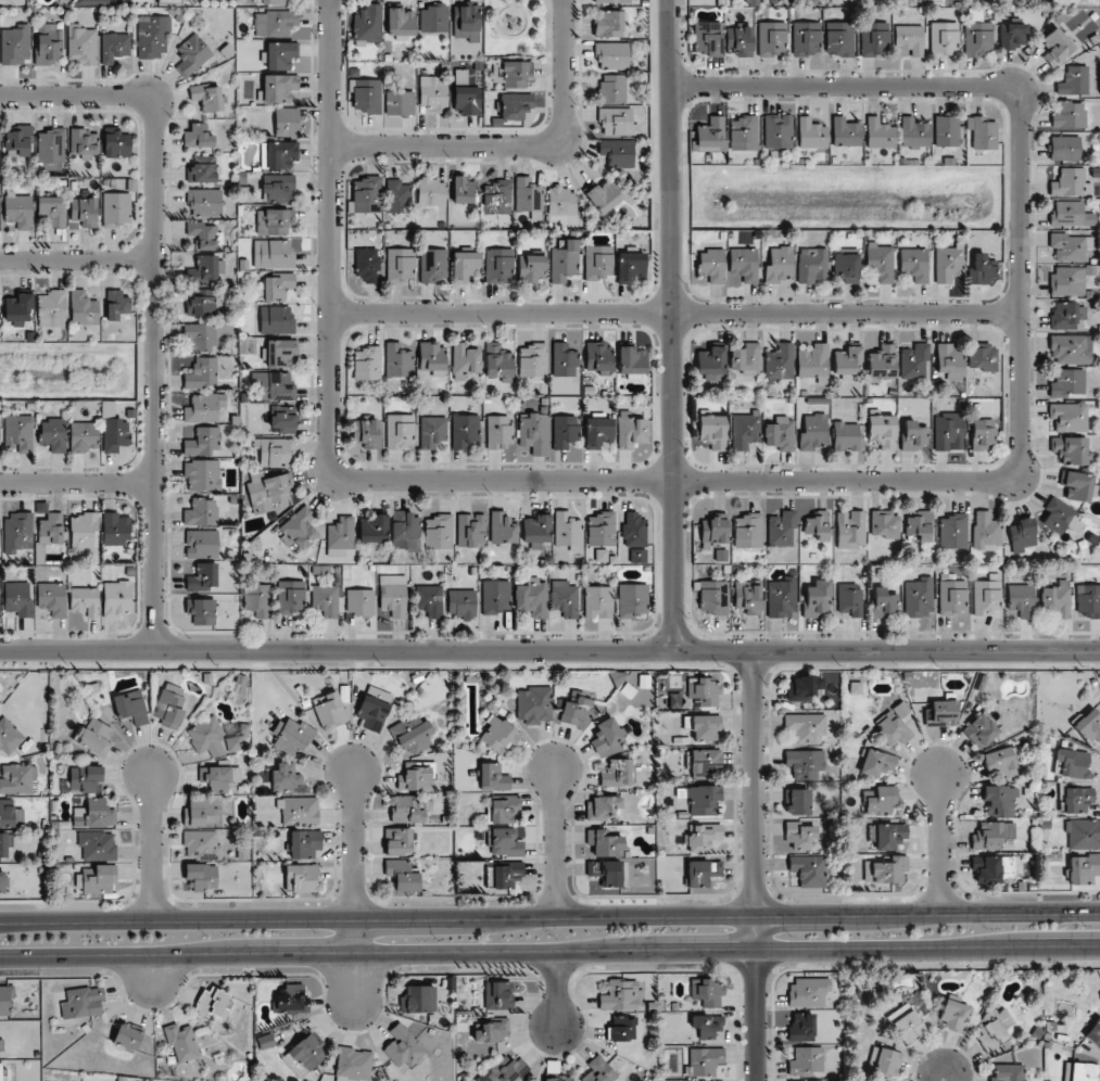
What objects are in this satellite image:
building: (168, 1)
building: (275, 1)
building: (610, 1)
road: (514, 2)
road: (501, 9)
building: (466, 17)
building: (433, 18)
building: (399, 21)
building: (275, 23)
building: (609, 23)
building: (368, 25)
park: (518, 27)
building: (1013, 35)
building: (153, 37)
building: (707, 38)
building: (806, 38)
building: (839, 38)
building: (874, 38)
building: (771, 39)
building: (909, 39)
building: (944, 39)
building: (978, 39)
building: (739, 40)
building: (49, 43)
building: (15, 44)
building: (81, 46)
building: (1057, 46)
building: (114, 47)
building: (192, 55)
building: (280, 55)
building: (611, 55)
building: (516, 74)
building: (1074, 80)
building: (278, 88)
building: (612, 88)
building: (432, 93)
road: (77, 94)
building: (367, 96)
building: (207, 97)
building: (466, 101)
building: (399, 102)
building: (514, 105)
building: (1069, 115)
building: (287, 122)
building: (617, 122)
building: (777, 130)
building: (946, 131)
building: (710, 132)
building: (743, 132)
building: (845, 132)
building: (913, 132)
building: (982, 132)
building: (811, 133)
building: (880, 133)
building: (198, 137)
building: (20, 140)
building: (84, 143)
building: (116, 143)
road: (520, 145)
building: (1064, 148)
building: (51, 149)
building: (618, 152)
building: (278, 154)
building: (202, 169)
building: (1070, 182)
building: (278, 189)
building: (460, 190)
building: (430, 191)
building: (366, 194)
building: (528, 194)
building: (603, 195)
building: (399, 196)
building: (496, 198)
building: (561, 201)
building: (205, 202)
building: (52, 209)
building: (116, 209)
building: (18, 211)
building: (85, 212)
building: (1070, 214)
building: (274, 221)
building: (204, 234)
building: (1067, 246)
building: (274, 254)
road: (77, 259)
building: (564, 260)
building: (597, 262)
building: (880, 262)
building: (948, 263)
building: (366, 264)
building: (744, 264)
building: (846, 264)
building: (914, 264)
building: (400, 265)
building: (432, 265)
building: (466, 265)
building: (498, 265)
building: (711, 265)
building: (779, 265)
building: (811, 265)
building: (630, 266)
building: (530, 268)
building: (206, 269)
building: (982, 270)
building: (1069, 280)
road: (1020, 281)
building: (277, 287)
building: (202, 303)
building: (116, 305)
building: (18, 308)
building: (52, 308)
building: (84, 308)
road: (674, 313)
building: (1066, 315)
building: (277, 320)
road: (673, 325)
building: (201, 336)
building: (1071, 348)
building: (279, 353)
building: (597, 356)
building: (431, 357)
building: (983, 357)
building: (746, 358)
building: (562, 359)
building: (396, 360)
building: (464, 360)
building: (532, 360)
building: (949, 360)
building: (497, 361)
building: (780, 361)
building: (847, 361)
building: (914, 361)
building: (631, 363)
building: (710, 363)
building: (814, 363)
building: (367, 364)
building: (882, 364)
road: (154, 372)
building: (202, 373)
building: (1067, 382)
building: (280, 386)
building: (204, 408)
road: (330, 412)
building: (1069, 417)
building: (283, 418)
building: (113, 430)
building: (463, 430)
building: (630, 430)
building: (744, 430)
building: (400, 431)
building: (431, 431)
building: (498, 431)
building: (564, 431)
building: (712, 431)
building: (882, 431)
building: (948, 431)
building: (598, 432)
building: (813, 432)
building: (18, 433)
building: (365, 433)
building: (533, 433)
building: (982, 433)
building: (53, 434)
building: (780, 434)
building: (913, 435)
building: (83, 436)
building: (845, 436)
building: (203, 442)
building: (1071, 450)
building: (275, 452)
building: (203, 475)
road: (77, 483)
building: (1075, 485)
building: (268, 492)
building: (201, 512)
building: (1061, 517)
building: (885, 524)
building: (817, 525)
building: (920, 526)
building: (52, 527)
building: (371, 527)
building: (299, 529)
building: (535, 529)
building: (600, 529)
building: (781, 529)
building: (850, 529)
building: (115, 530)
building: (404, 530)
building: (470, 530)
building: (84, 531)
building: (568, 531)
building: (713, 531)
building: (747, 531)
building: (952, 531)
building: (17, 532)
building: (438, 532)
building: (986, 532)
building: (340, 536)
building: (634, 536)
building: (202, 544)
building: (600, 556)
building: (203, 576)
building: (392, 595)
building: (495, 596)
building: (748, 596)
building: (987, 596)
building: (291, 597)
building: (713, 597)
building: (953, 597)
building: (532, 598)
building: (565, 598)
building: (782, 598)
building: (817, 598)
building: (919, 598)
building: (17, 599)
building: (52, 599)
building: (116, 599)
building: (1055, 599)
building: (257, 600)
building: (326, 600)
building: (430, 600)
building: (632, 600)
building: (850, 600)
building: (1022, 600)
building: (1088, 600)
building: (85, 601)
building: (597, 601)
building: (359, 602)
building: (883, 602)
building: (462, 603)
building: (201, 611)
road: (549, 650)
building: (804, 688)
building: (705, 692)
building: (169, 705)
building: (534, 705)
building: (130, 707)
building: (374, 708)
building: (574, 710)
building: (330, 711)
building: (943, 712)
building: (894, 725)
building: (1089, 725)
building: (705, 727)
building: (806, 727)
building: (979, 730)
building: (498, 734)
building: (412, 735)
building: (606, 735)
building: (291, 736)
building: (94, 737)
building: (207, 738)
building: (705, 762)
building: (876, 762)
building: (999, 763)
building: (1072, 763)
building: (805, 764)
building: (618, 773)
building: (416, 776)
building: (85, 777)
building: (492, 777)
building: (215, 778)
building: (286, 778)
building: (1077, 799)
building: (704, 800)
building: (999, 800)
building: (798, 801)
building: (881, 801)
building: (603, 807)
building: (405, 810)
building: (503, 810)
building: (299, 811)
building: (7, 813)
building: (200, 813)
building: (94, 814)
building: (1083, 834)
building: (887, 835)
building: (991, 835)
building: (701, 836)
building: (799, 836)
building: (397, 841)
road: (558, 841)
building: (502, 842)
building: (304, 843)
building: (603, 843)
building: (2, 844)
road: (941, 844)
building: (98, 845)
building: (202, 845)
road: (154, 849)
road: (756, 865)
building: (991, 868)
building: (1084, 868)
building: (886, 869)
building: (809, 870)
building: (703, 872)
building: (606, 873)
building: (402, 875)
building: (507, 875)
building: (202, 876)
building: (304, 878)
building: (94, 879)
building: (3, 881)
road: (354, 887)
road: (549, 918)
road: (549, 954)
road: (153, 972)
road: (558, 991)
building: (808, 992)
building: (708, 993)
building: (497, 995)
building: (620, 995)
building: (418, 999)
building: (291, 1000)
building: (4, 1001)
building: (210, 1001)
building: (83, 1003)
building: (953, 1015)
building: (906, 1023)
building: (708, 1027)
building: (801, 1027)
building: (621, 1028)
building: (995, 1028)
building: (492, 1031)
building: (1093, 1032)
building: (127, 1037)
building: (181, 1042)
building: (403, 1047)
building: (305, 1055)
building: (705, 1060)
building: (806, 1060)
building: (885, 1061)
building: (354, 1065)
building: (507, 1070)
building: (0, 1071)
building: (599, 1071)
building: (1009, 1072)
building: (1084, 1072)
building: (557, 1078)
road: (947, 1079)
building: (815, 1080)

